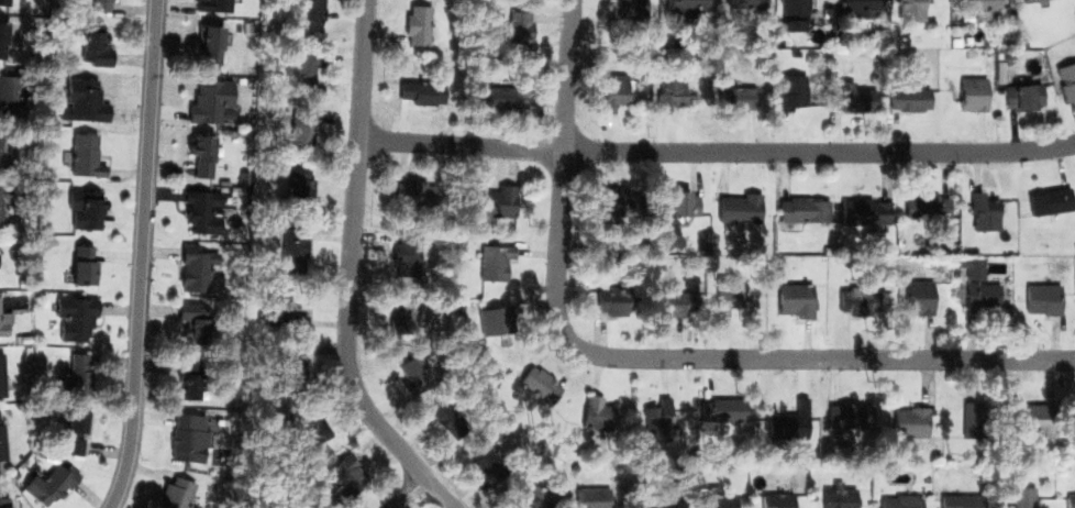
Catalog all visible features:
building: (1024, 0)
building: (4, 1)
building: (857, 1)
building: (975, 2)
building: (100, 3)
building: (746, 3)
building: (629, 4)
building: (688, 4)
building: (212, 5)
building: (304, 7)
building: (906, 8)
building: (798, 9)
building: (417, 19)
building: (518, 29)
building: (4, 36)
building: (210, 44)
building: (96, 52)
building: (299, 63)
building: (1062, 69)
building: (669, 71)
building: (619, 73)
building: (419, 81)
building: (790, 82)
building: (845, 85)
building: (500, 87)
building: (972, 88)
building: (741, 89)
building: (906, 89)
building: (422, 92)
building: (673, 92)
building: (7, 93)
building: (1027, 93)
building: (505, 97)
building: (208, 98)
building: (911, 99)
building: (88, 100)
building: (855, 100)
building: (301, 124)
building: (0, 139)
road: (718, 151)
building: (86, 155)
building: (203, 155)
building: (0, 190)
building: (297, 190)
building: (411, 191)
building: (612, 191)
building: (683, 194)
building: (734, 197)
building: (1045, 198)
building: (795, 199)
building: (501, 201)
building: (621, 201)
building: (861, 203)
building: (928, 205)
building: (979, 208)
building: (85, 209)
building: (203, 209)
building: (805, 211)
building: (293, 246)
building: (406, 249)
road: (141, 255)
building: (498, 259)
building: (90, 263)
building: (197, 266)
road: (352, 273)
building: (977, 278)
building: (740, 284)
building: (916, 284)
building: (796, 285)
building: (861, 288)
building: (1042, 288)
building: (610, 289)
building: (674, 289)
building: (729, 295)
building: (920, 298)
building: (617, 301)
building: (674, 305)
building: (282, 307)
building: (401, 313)
building: (495, 318)
building: (77, 320)
building: (193, 323)
building: (4, 324)
building: (296, 356)
road: (651, 356)
building: (75, 375)
building: (411, 376)
building: (191, 377)
building: (1, 378)
building: (539, 380)
building: (724, 409)
building: (655, 416)
building: (597, 417)
building: (444, 418)
building: (1041, 418)
building: (847, 419)
building: (910, 419)
building: (972, 419)
building: (1070, 420)
building: (790, 422)
building: (306, 424)
building: (79, 432)
building: (1, 437)
building: (189, 440)
building: (486, 457)
building: (343, 471)
building: (47, 484)
building: (180, 492)
road: (409, 493)
building: (530, 494)
building: (839, 494)
building: (594, 497)
building: (1022, 498)
building: (656, 499)
building: (779, 499)
building: (717, 500)
building: (961, 500)
building: (1071, 500)
building: (290, 501)
building: (904, 501)
building: (3, 503)

